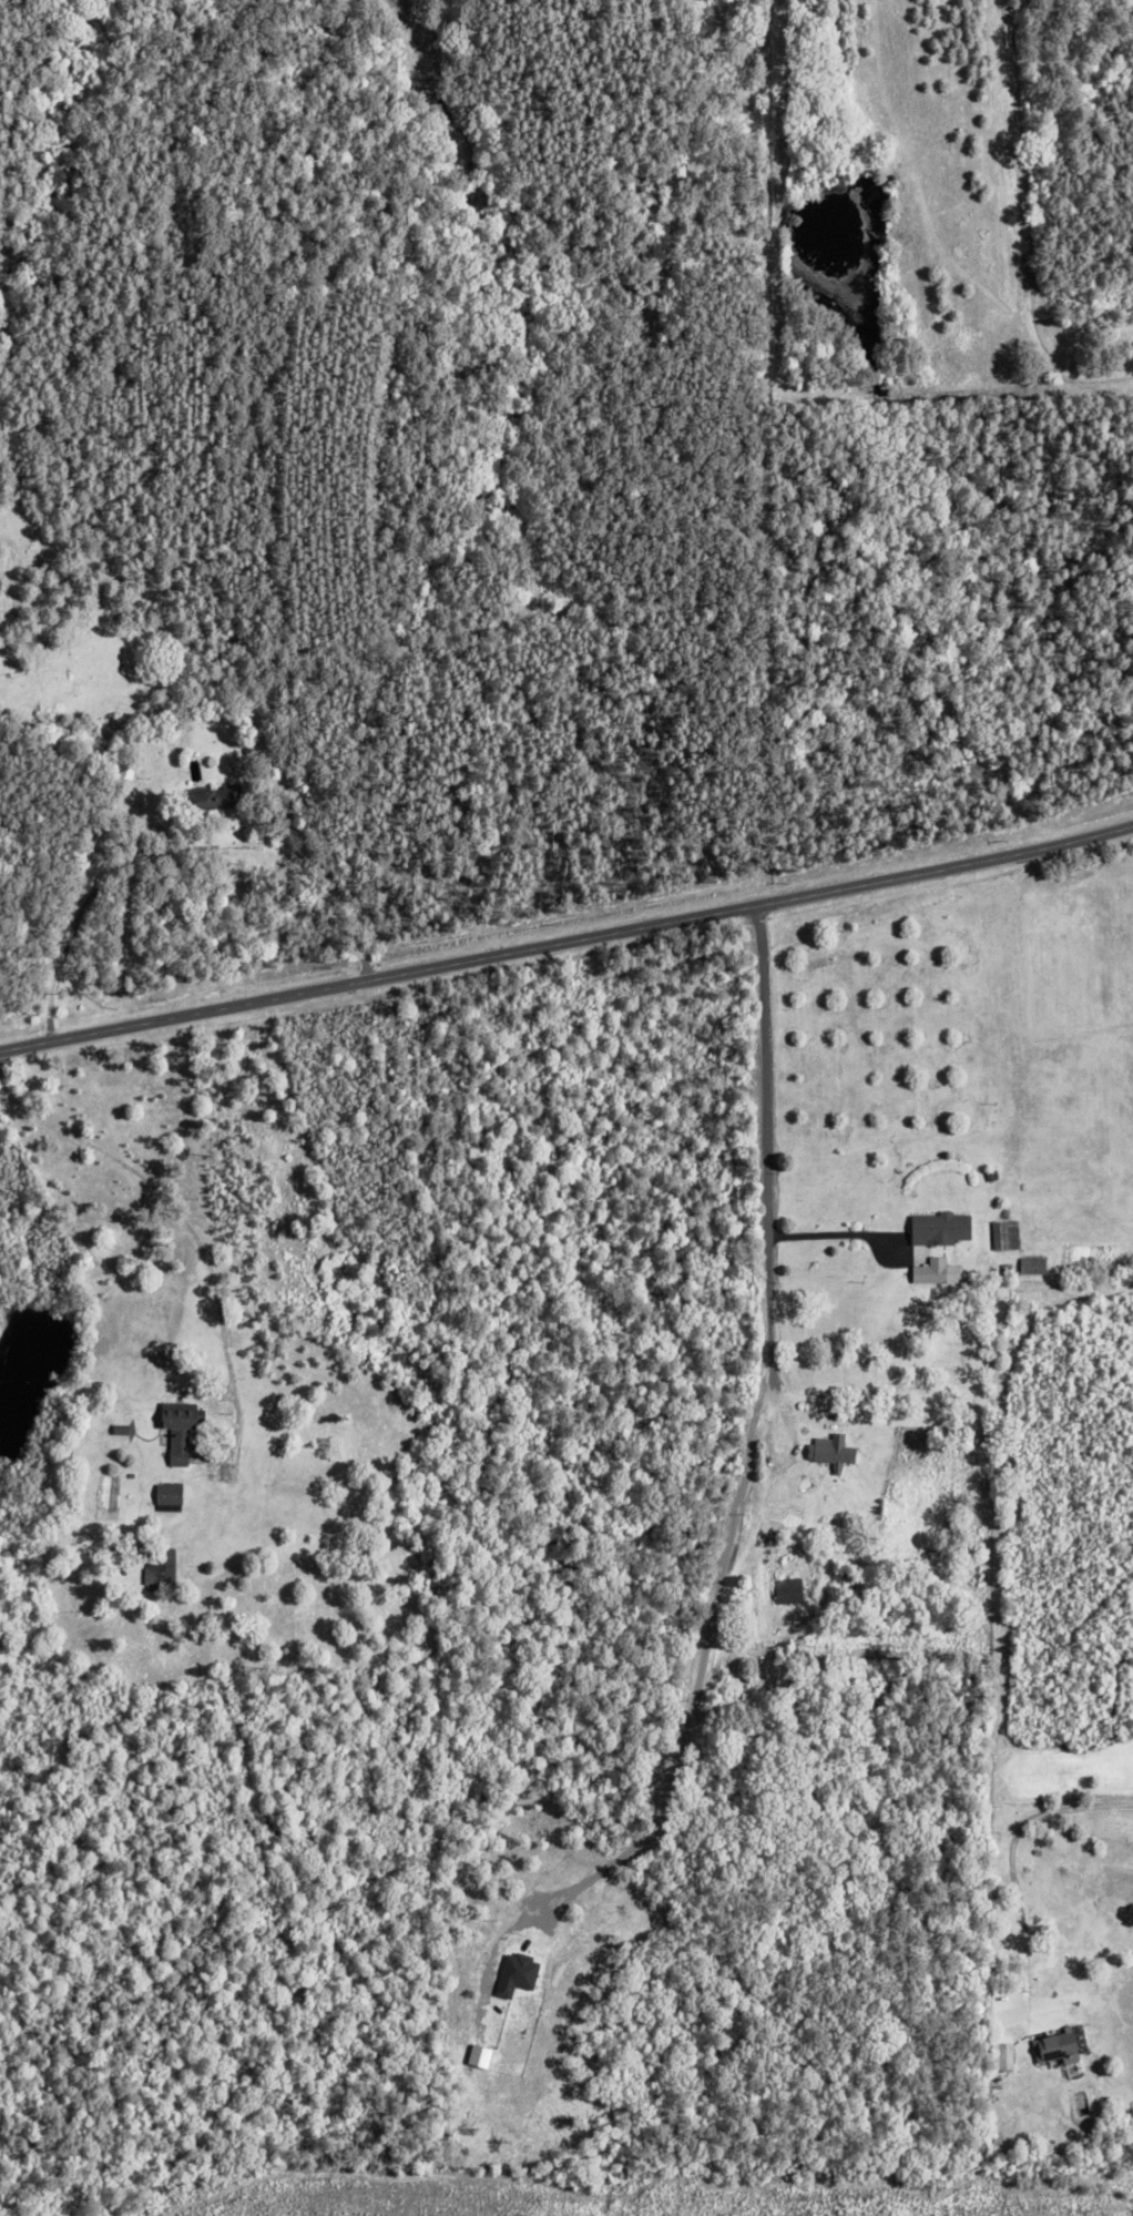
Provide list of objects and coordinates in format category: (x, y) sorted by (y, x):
road: (1028, 224)
building: (223, 796)
road: (569, 955)
road: (766, 1195)
building: (942, 1228)
road: (841, 1231)
building: (1006, 1234)
road: (1031, 1248)
road: (182, 1256)
building: (1034, 1265)
building: (938, 1272)
building: (181, 1430)
building: (834, 1452)
building: (170, 1494)
building: (163, 1562)
building: (790, 1590)
road: (700, 1676)
road: (1004, 1858)
building: (1059, 2047)
building: (1007, 2056)

